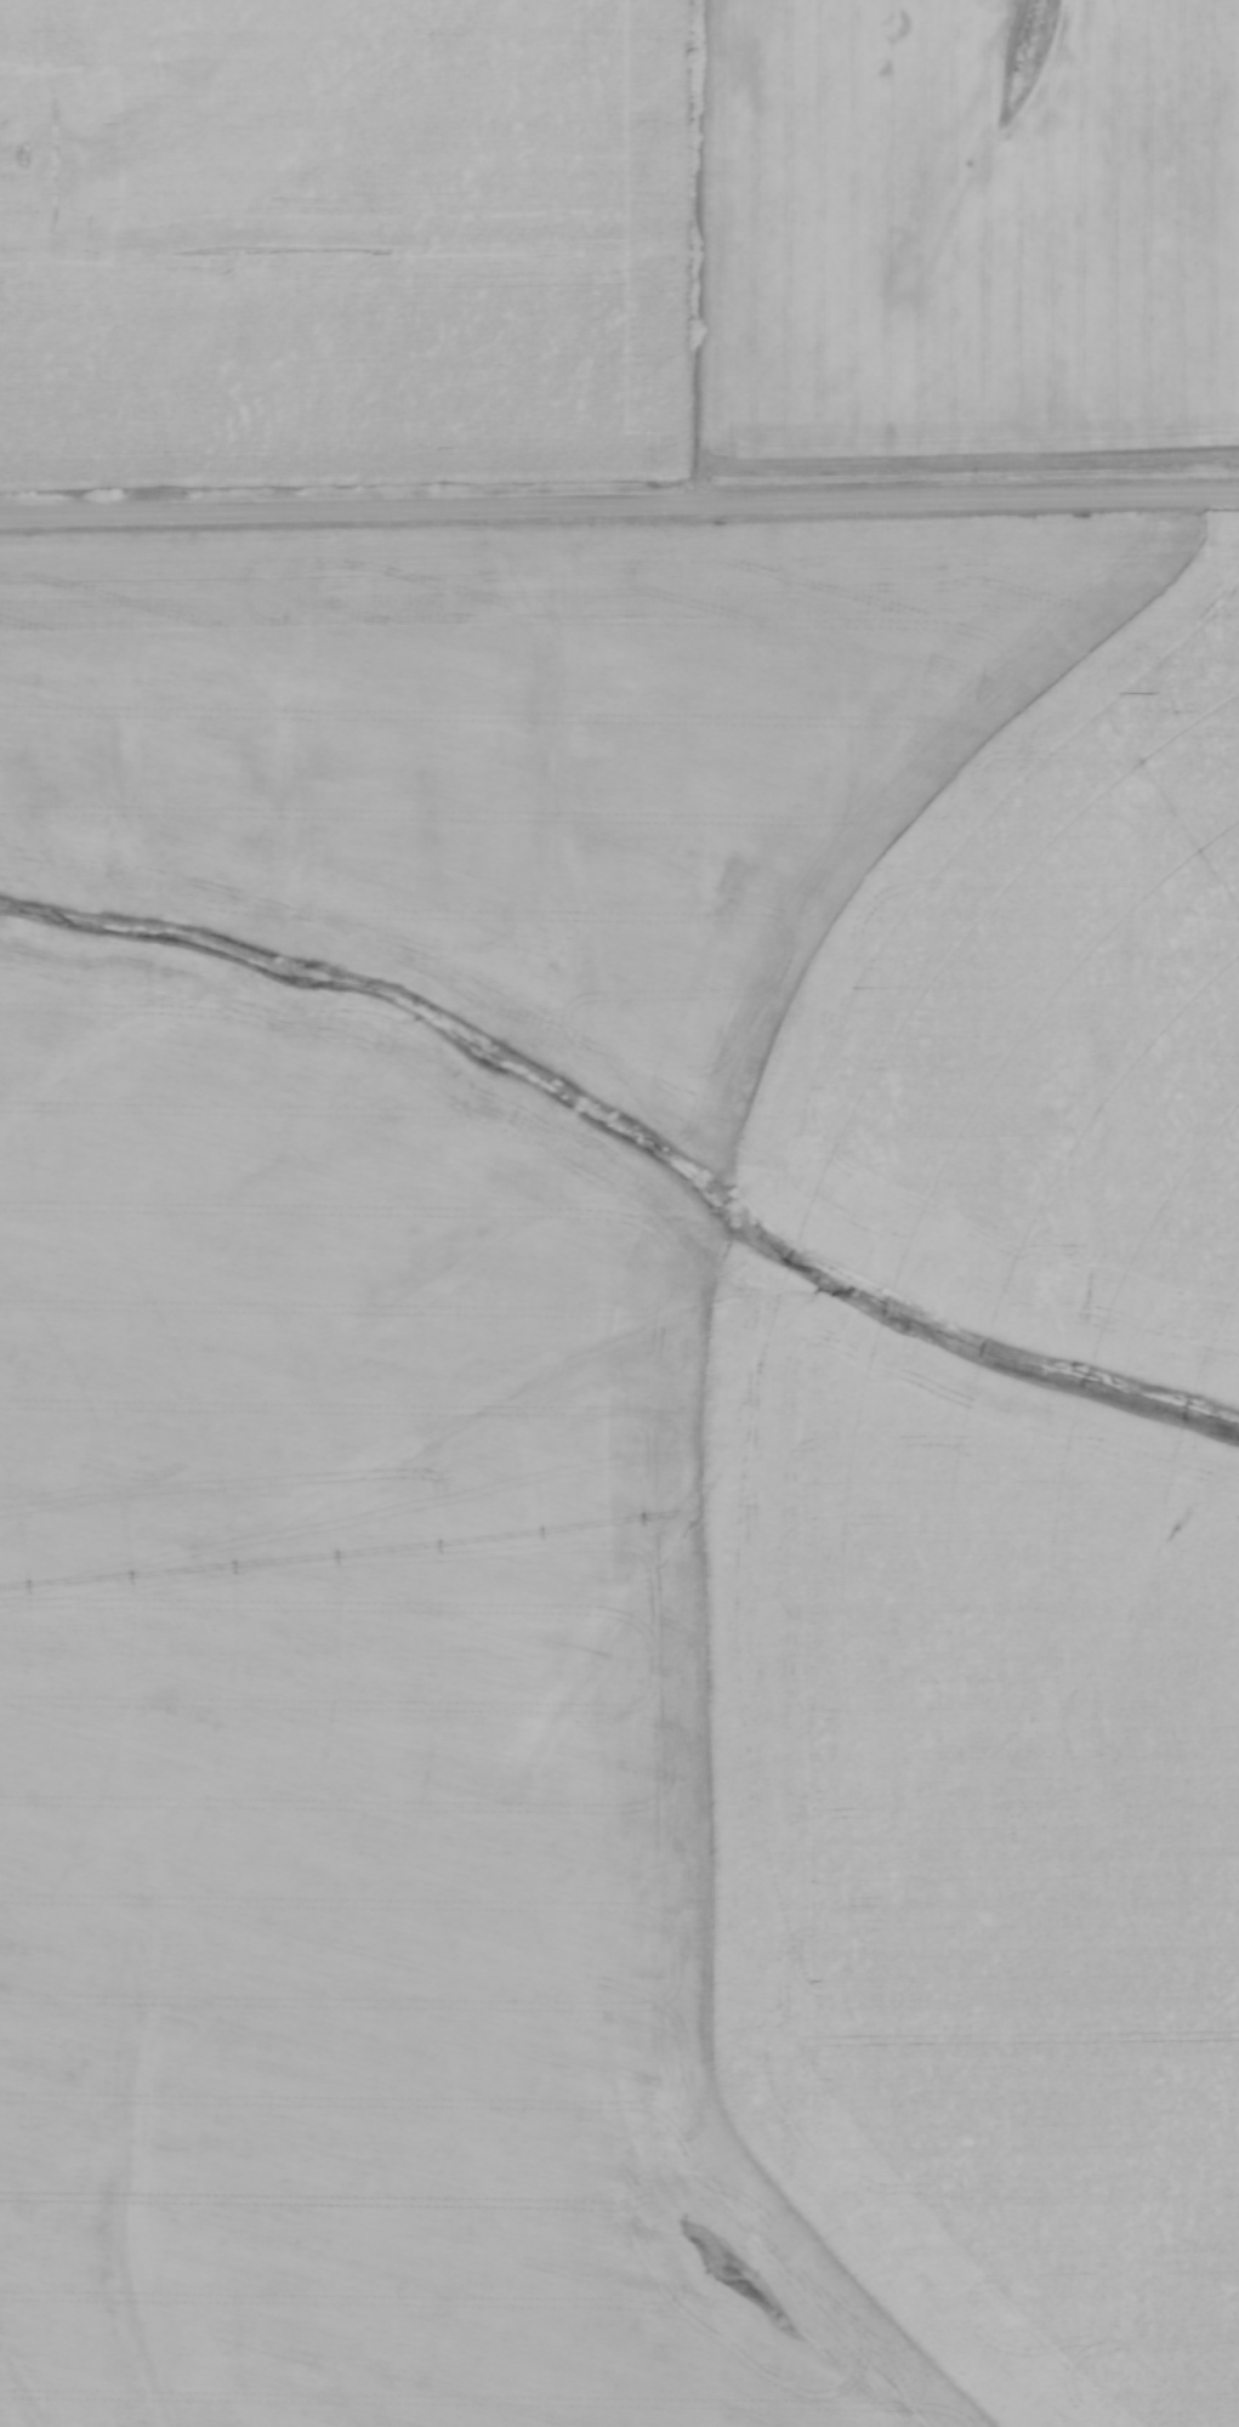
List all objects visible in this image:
road: (619, 510)

